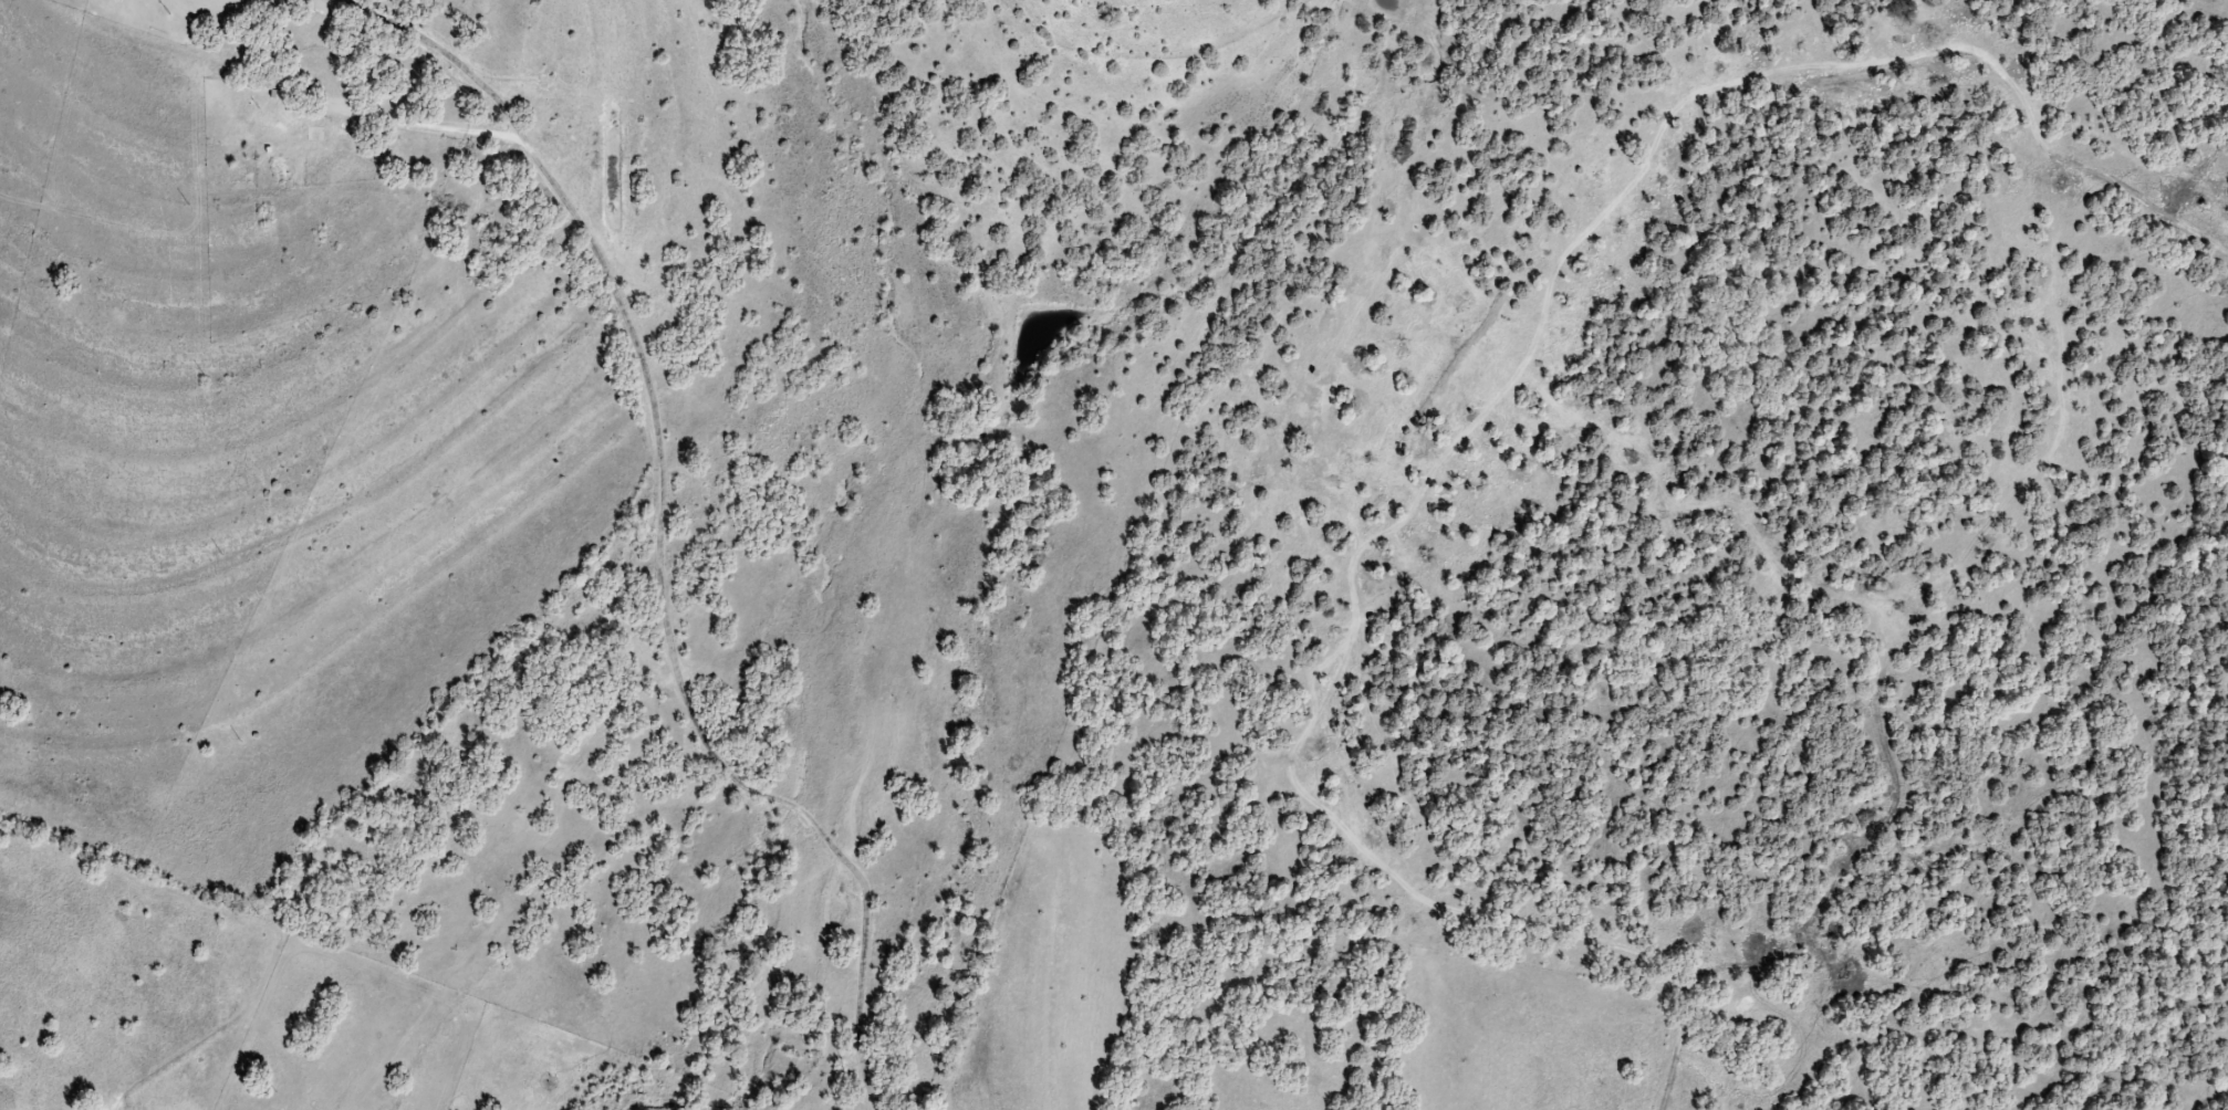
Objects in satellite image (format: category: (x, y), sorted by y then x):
road: (429, 126)
building: (312, 136)
road: (662, 538)

